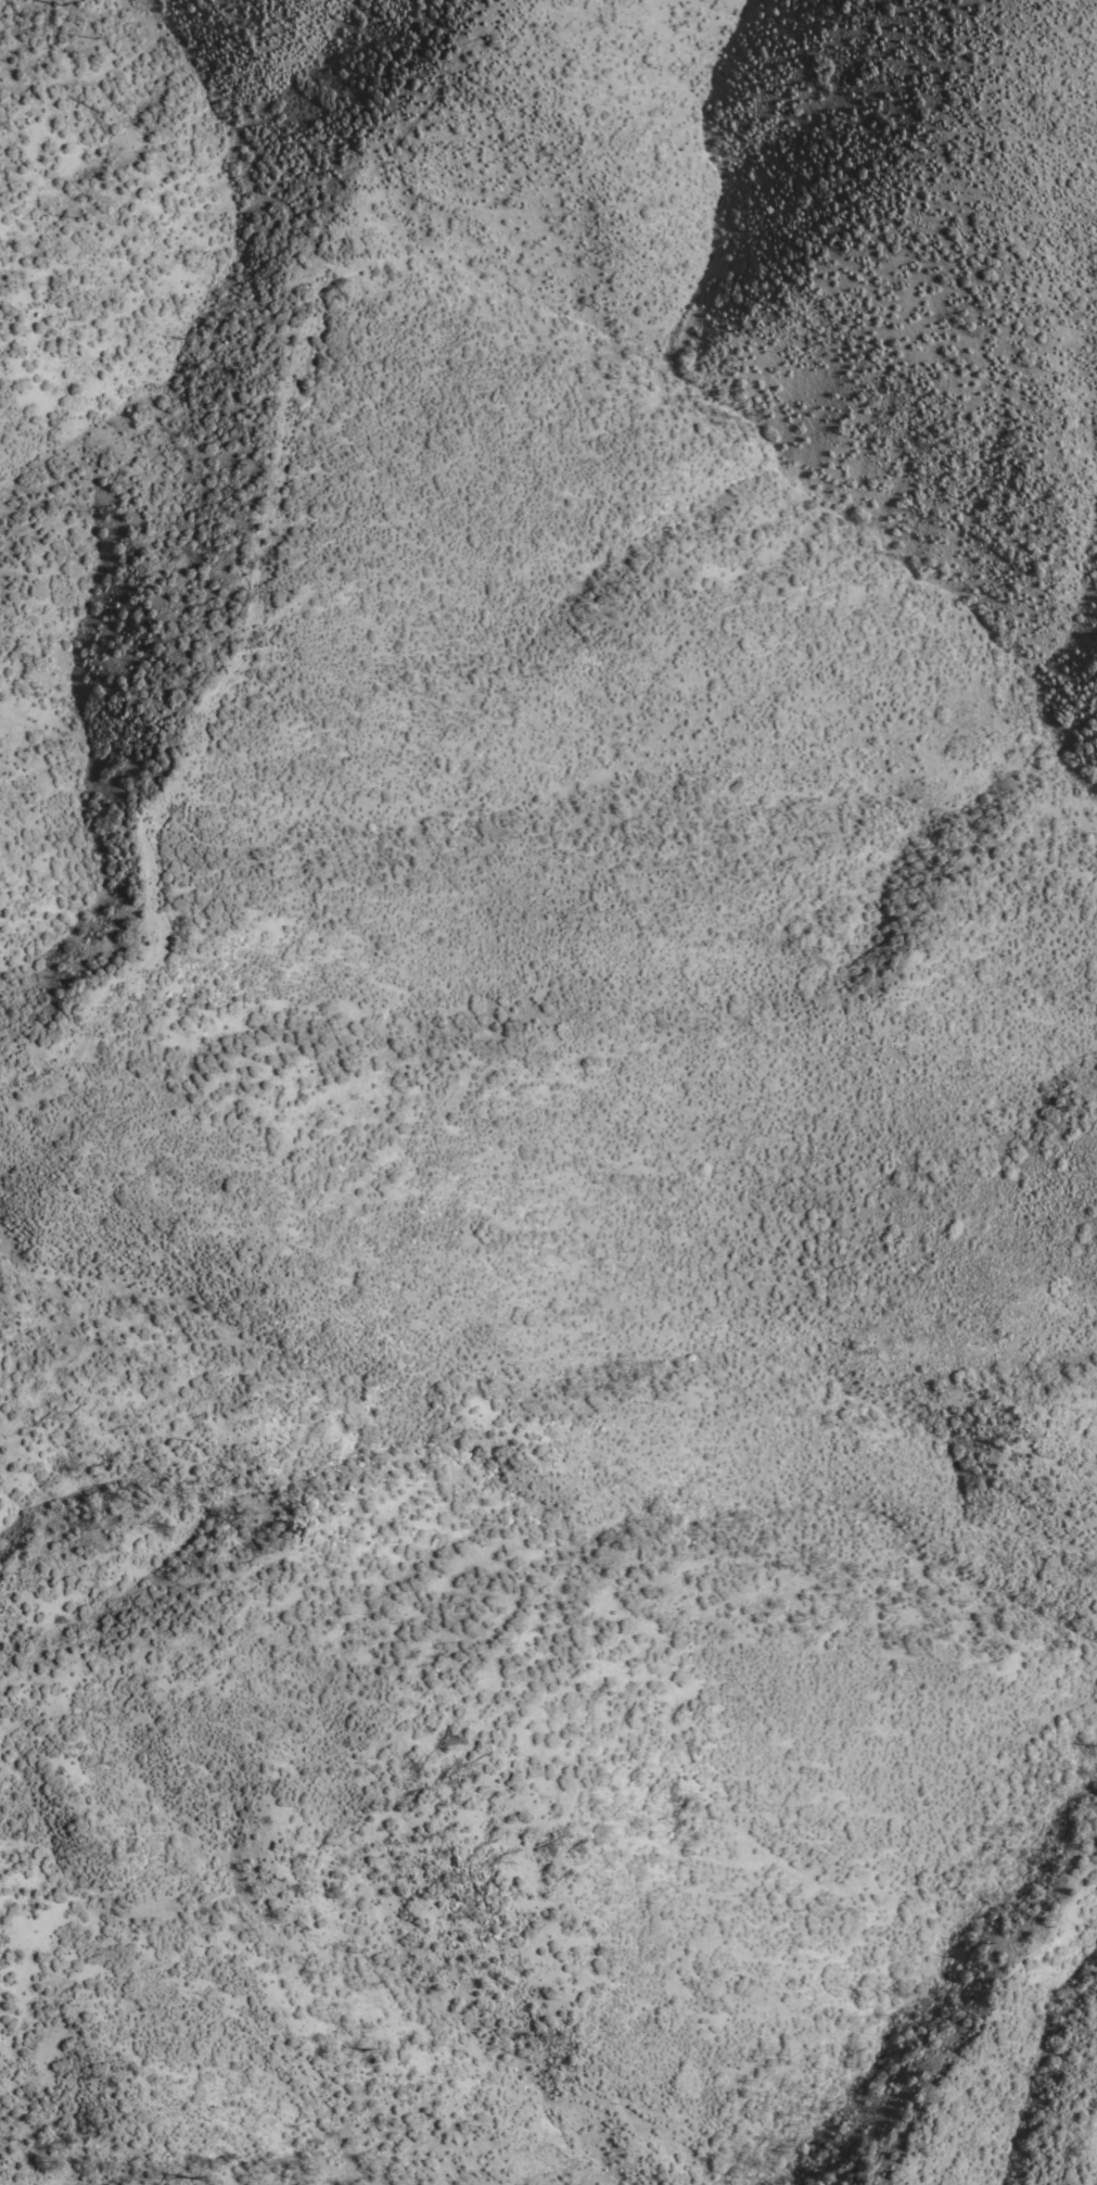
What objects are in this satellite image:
road: (17, 2180)

